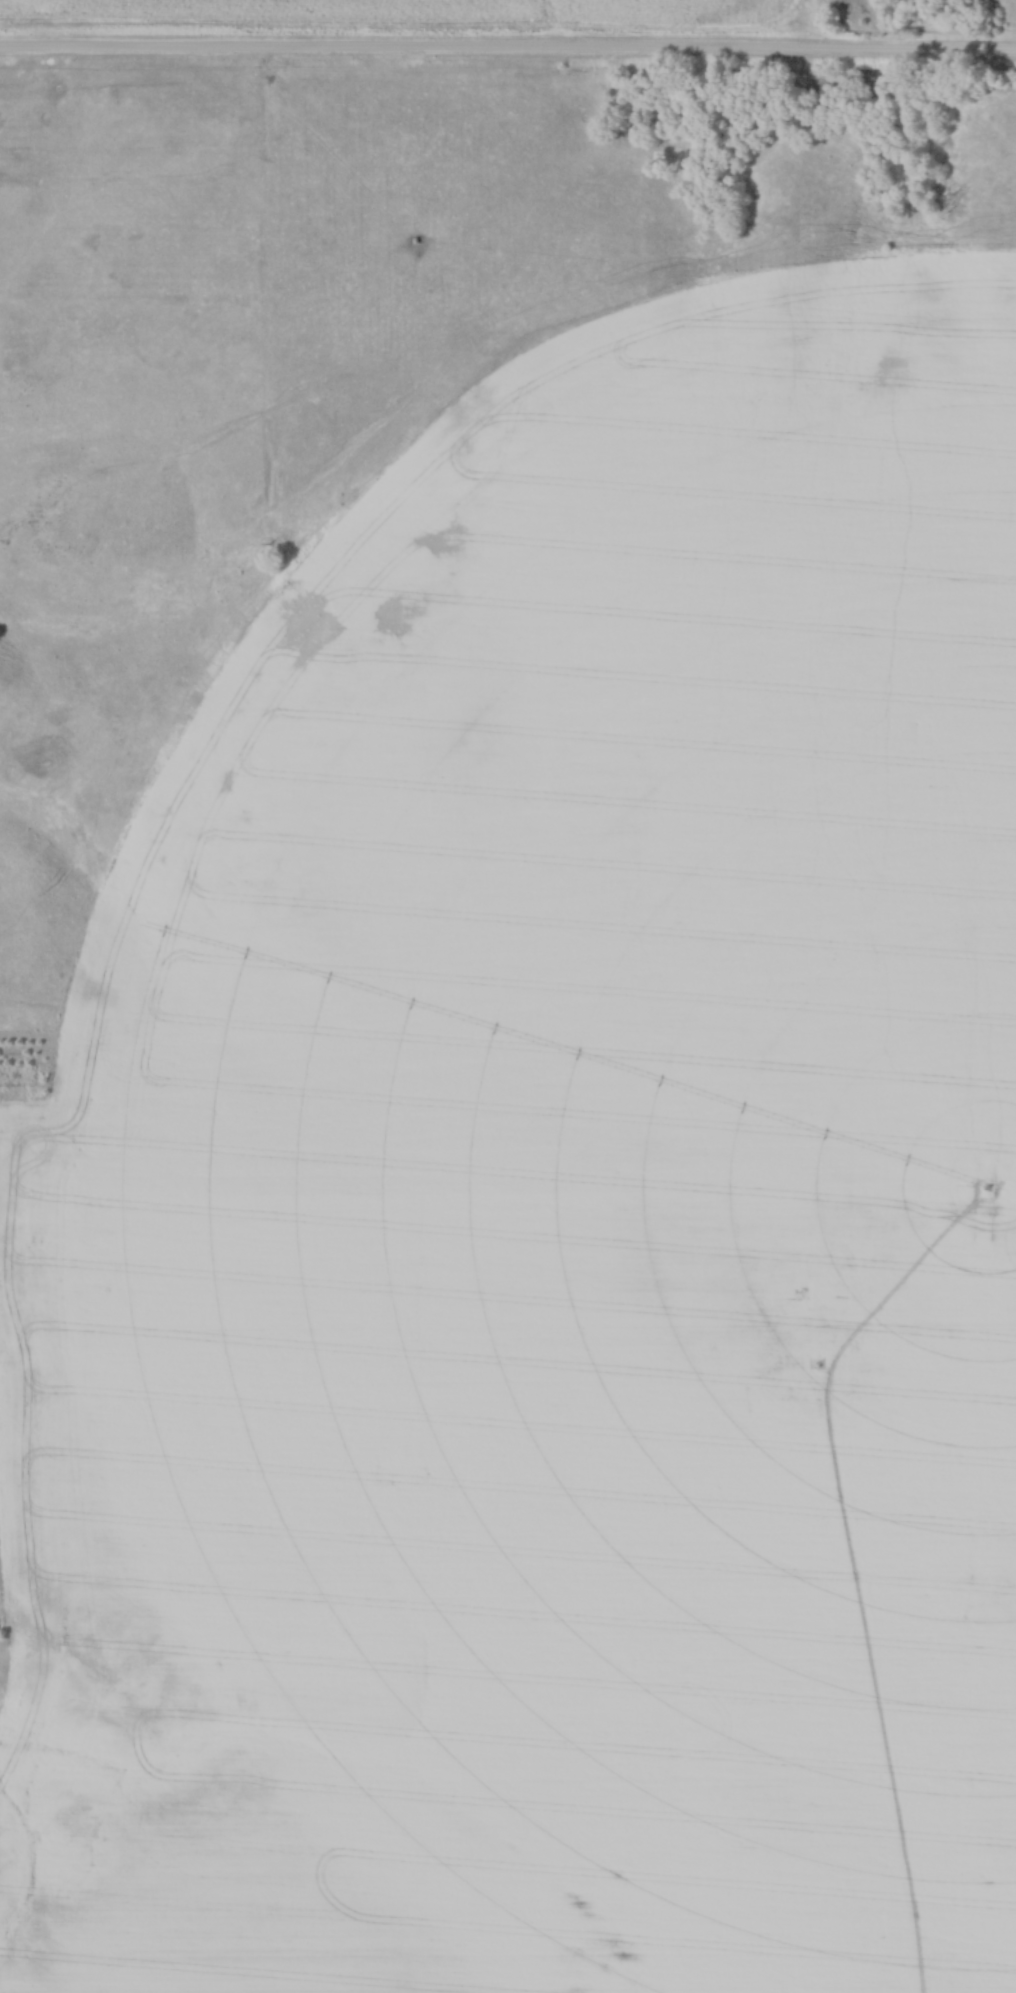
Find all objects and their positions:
road: (507, 48)

